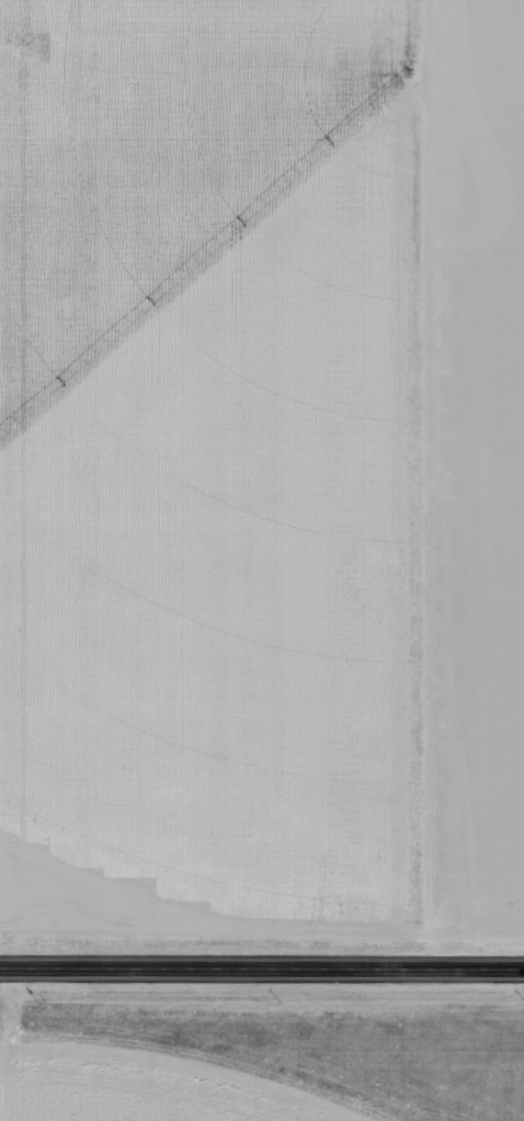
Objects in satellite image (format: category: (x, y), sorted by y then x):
road: (262, 970)

